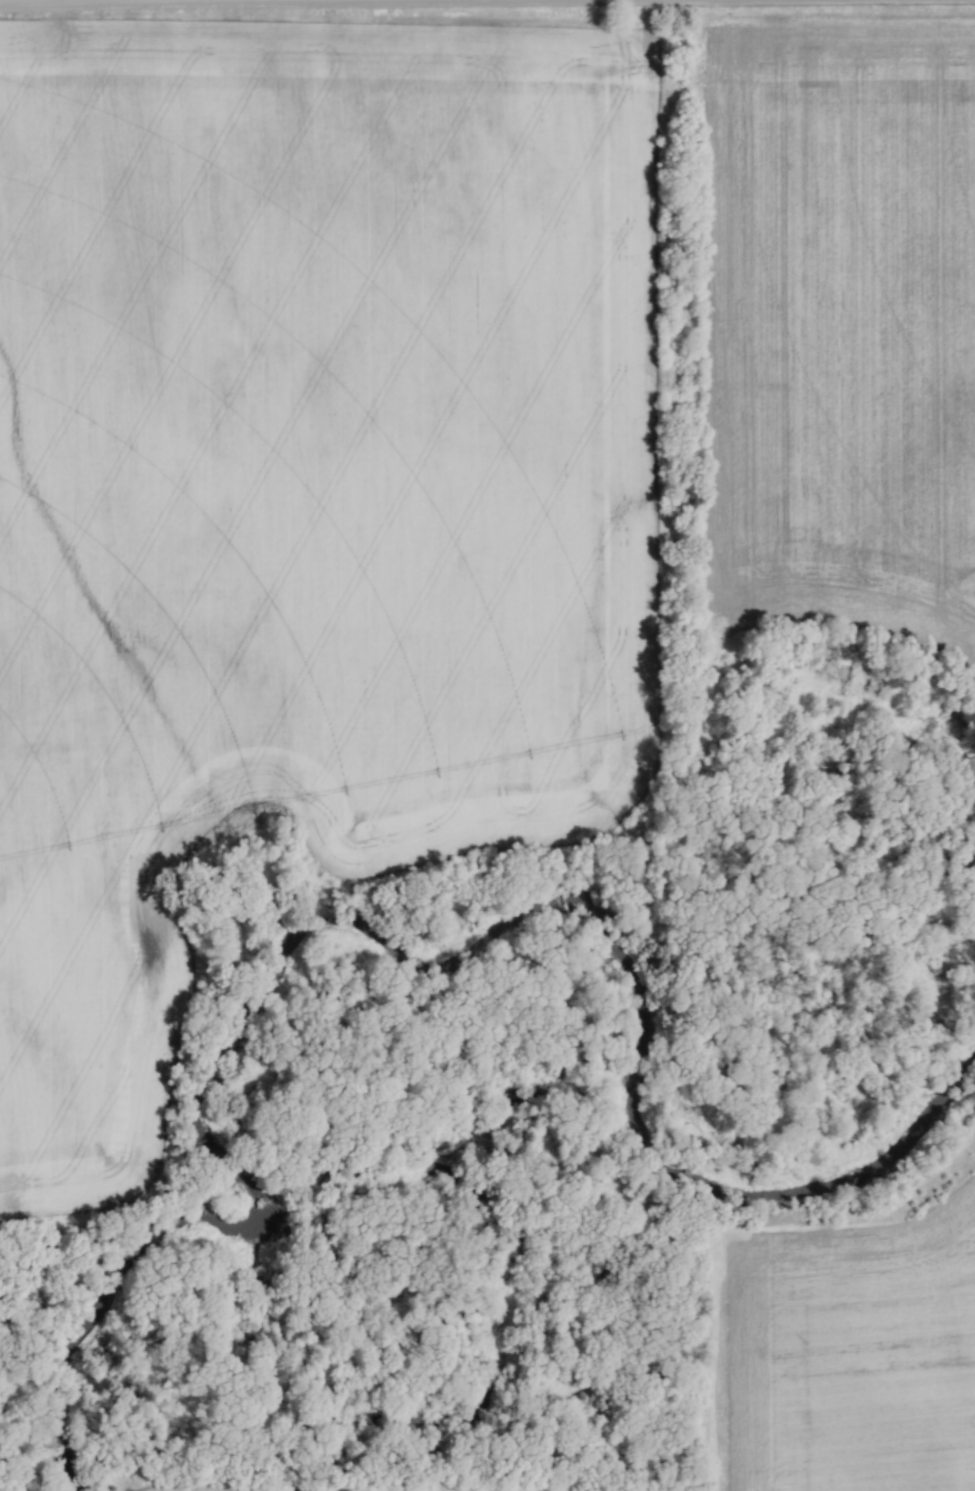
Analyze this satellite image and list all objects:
road: (333, 2)

